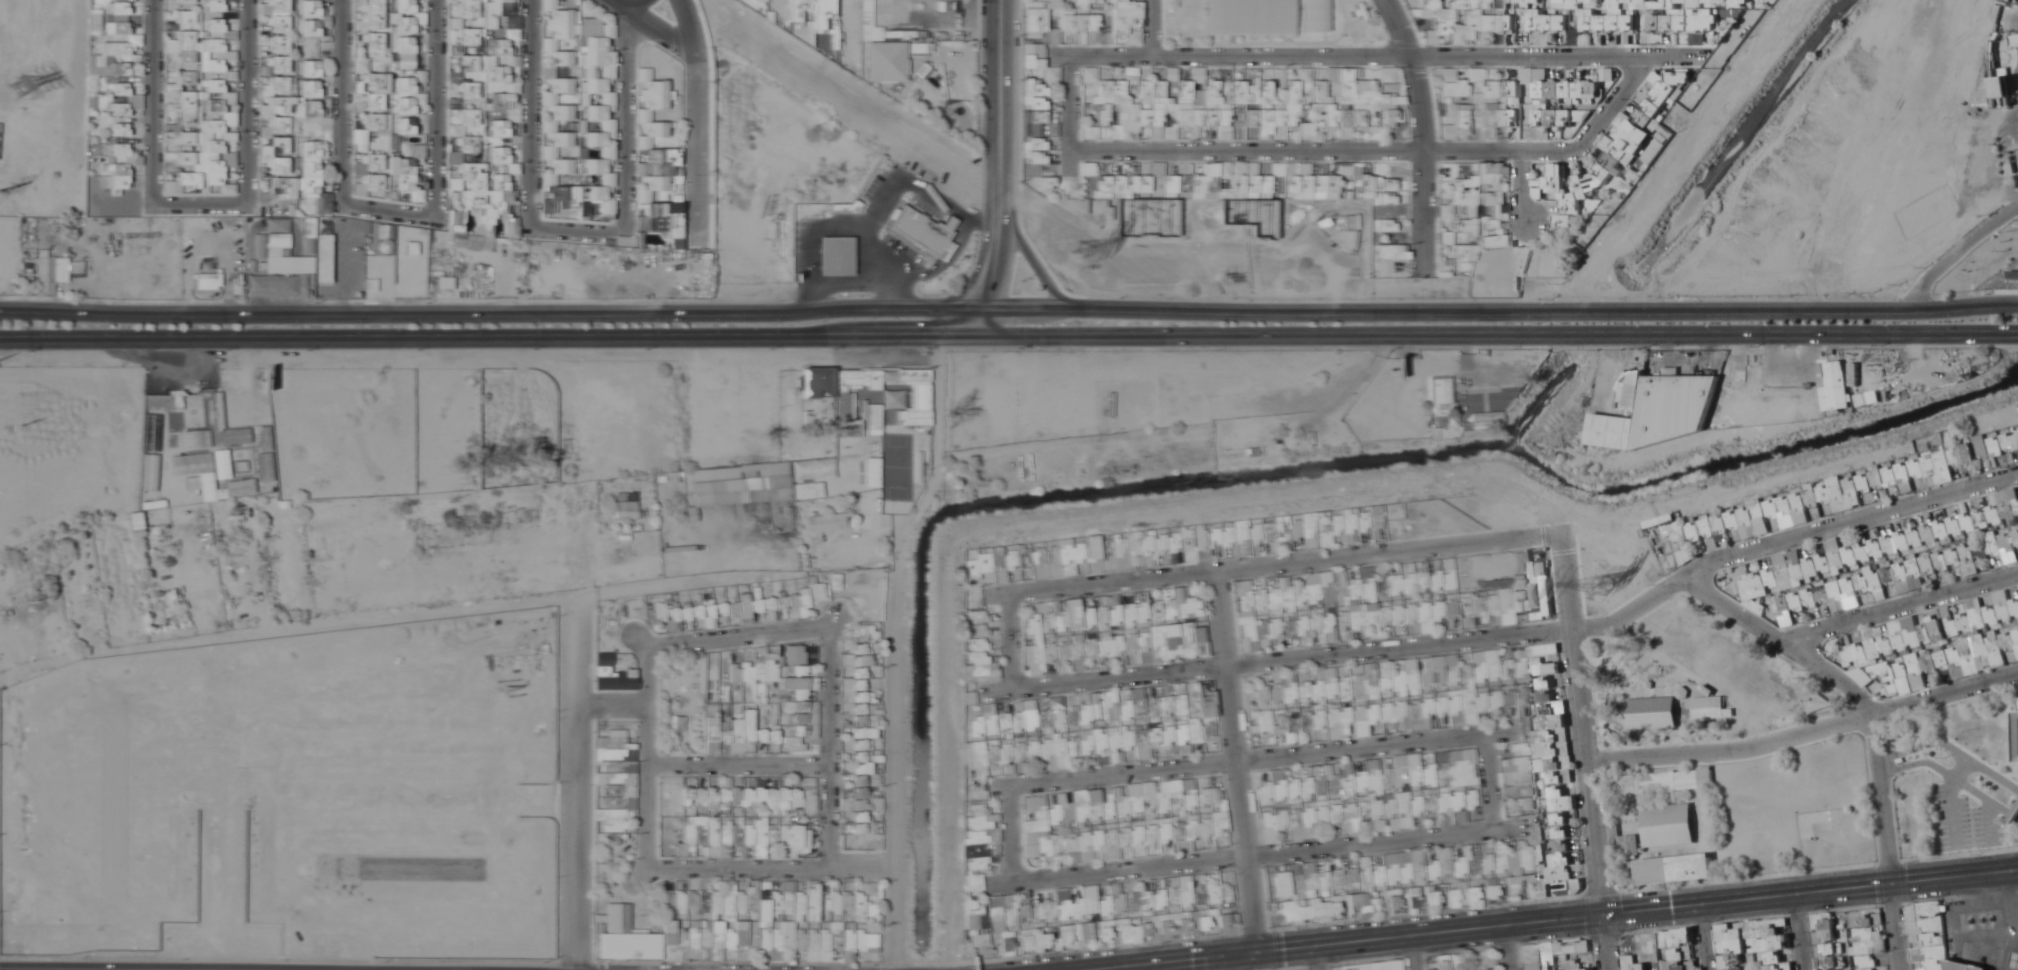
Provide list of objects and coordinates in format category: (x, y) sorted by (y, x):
park: (1274, 21)
power tower: (16, 86)
power tower: (1084, 249)
power tower: (1603, 585)
gas station: (2015, 958)

